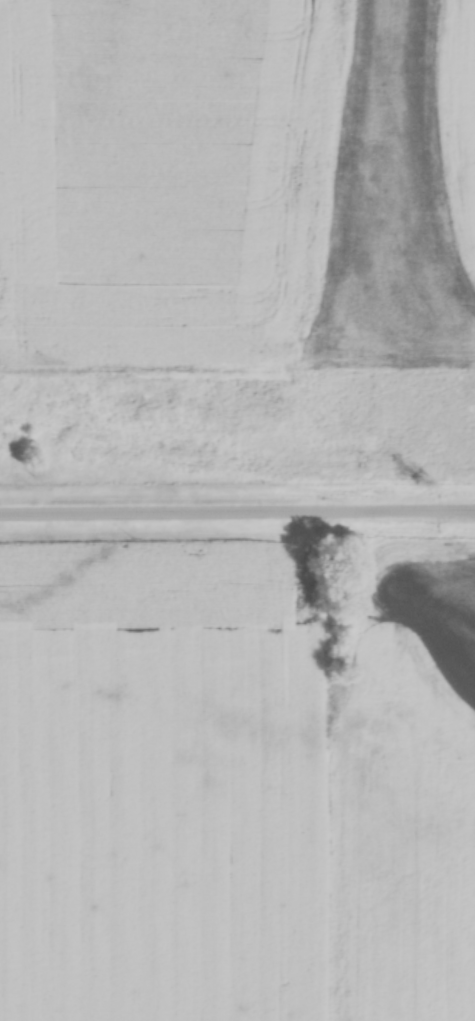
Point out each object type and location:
road: (237, 513)

